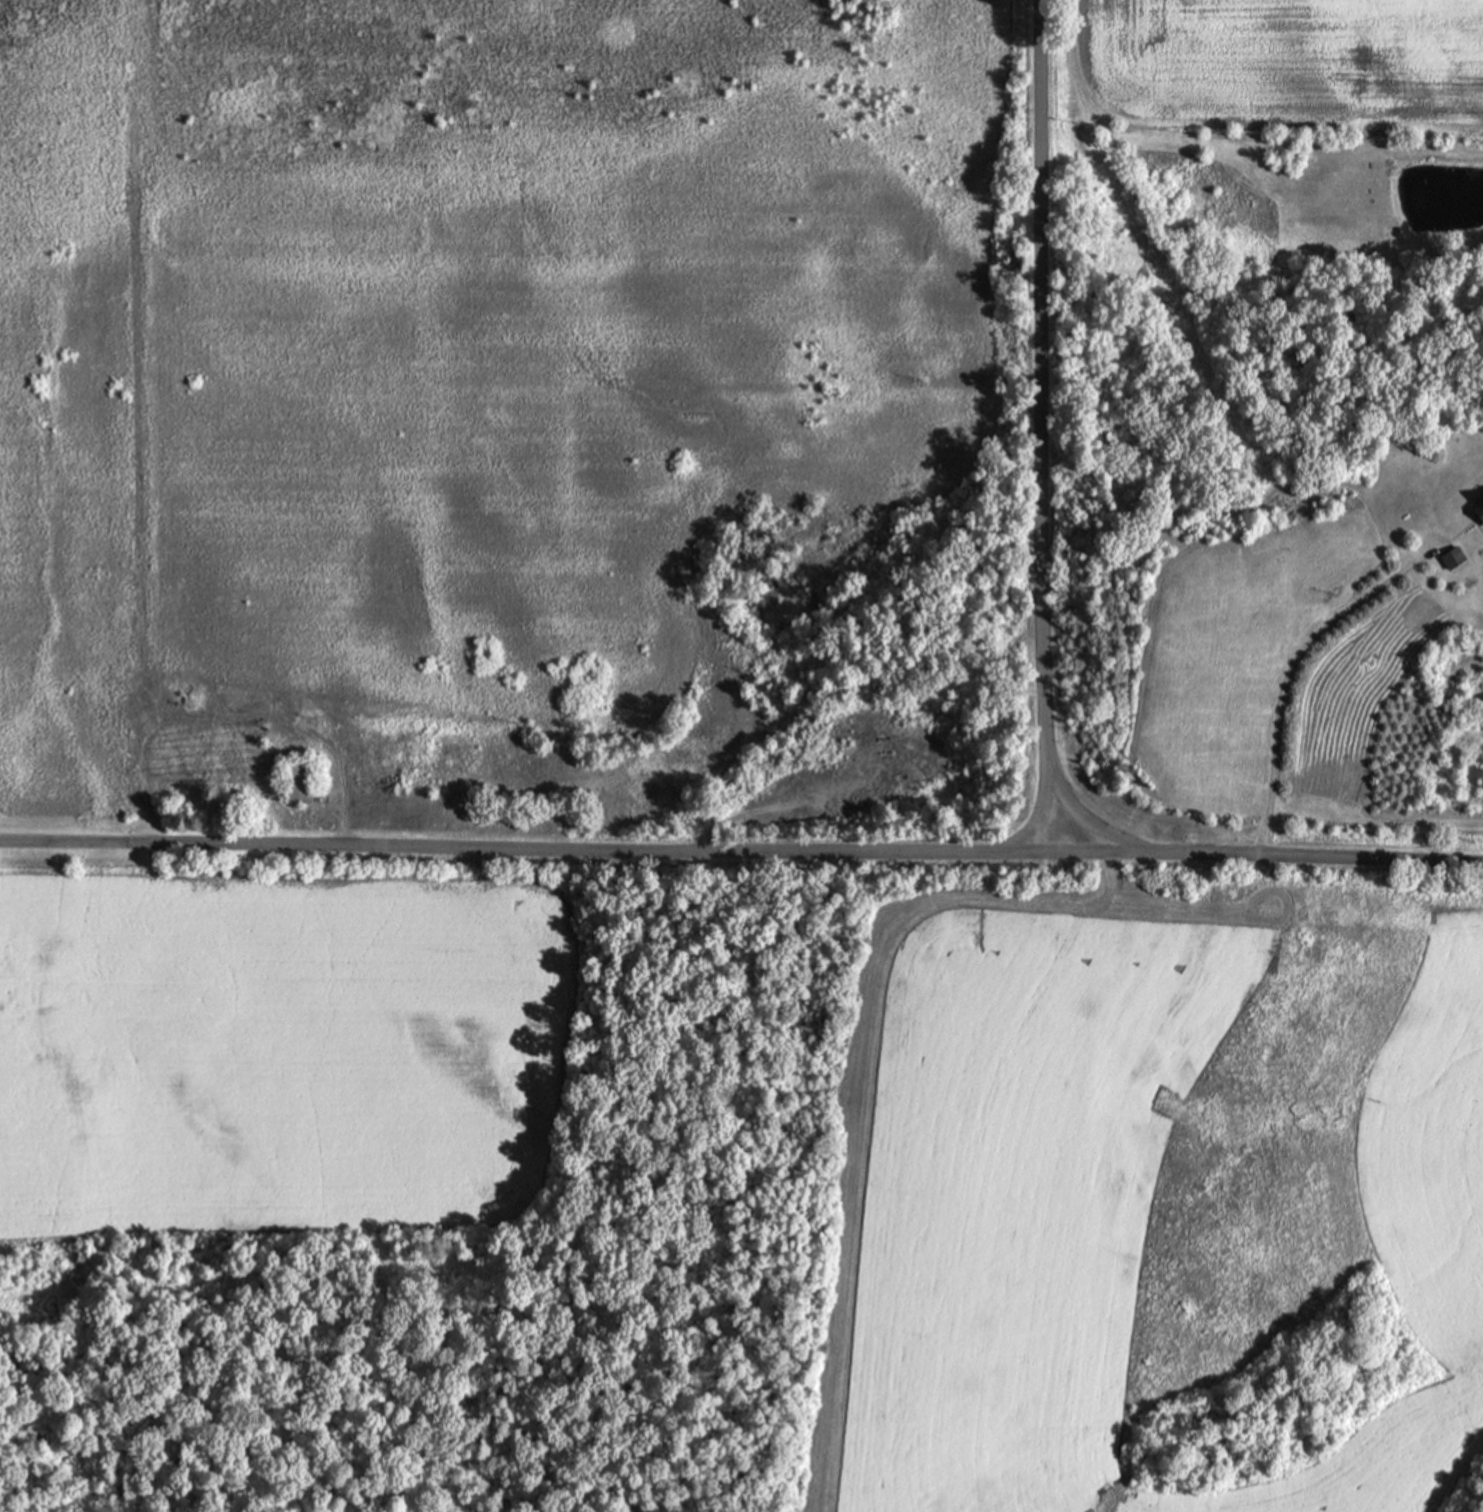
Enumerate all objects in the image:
road: (1044, 449)
building: (1479, 507)
building: (1452, 557)
road: (1287, 667)
building: (296, 780)
road: (1038, 814)
road: (572, 847)
road: (1314, 856)

